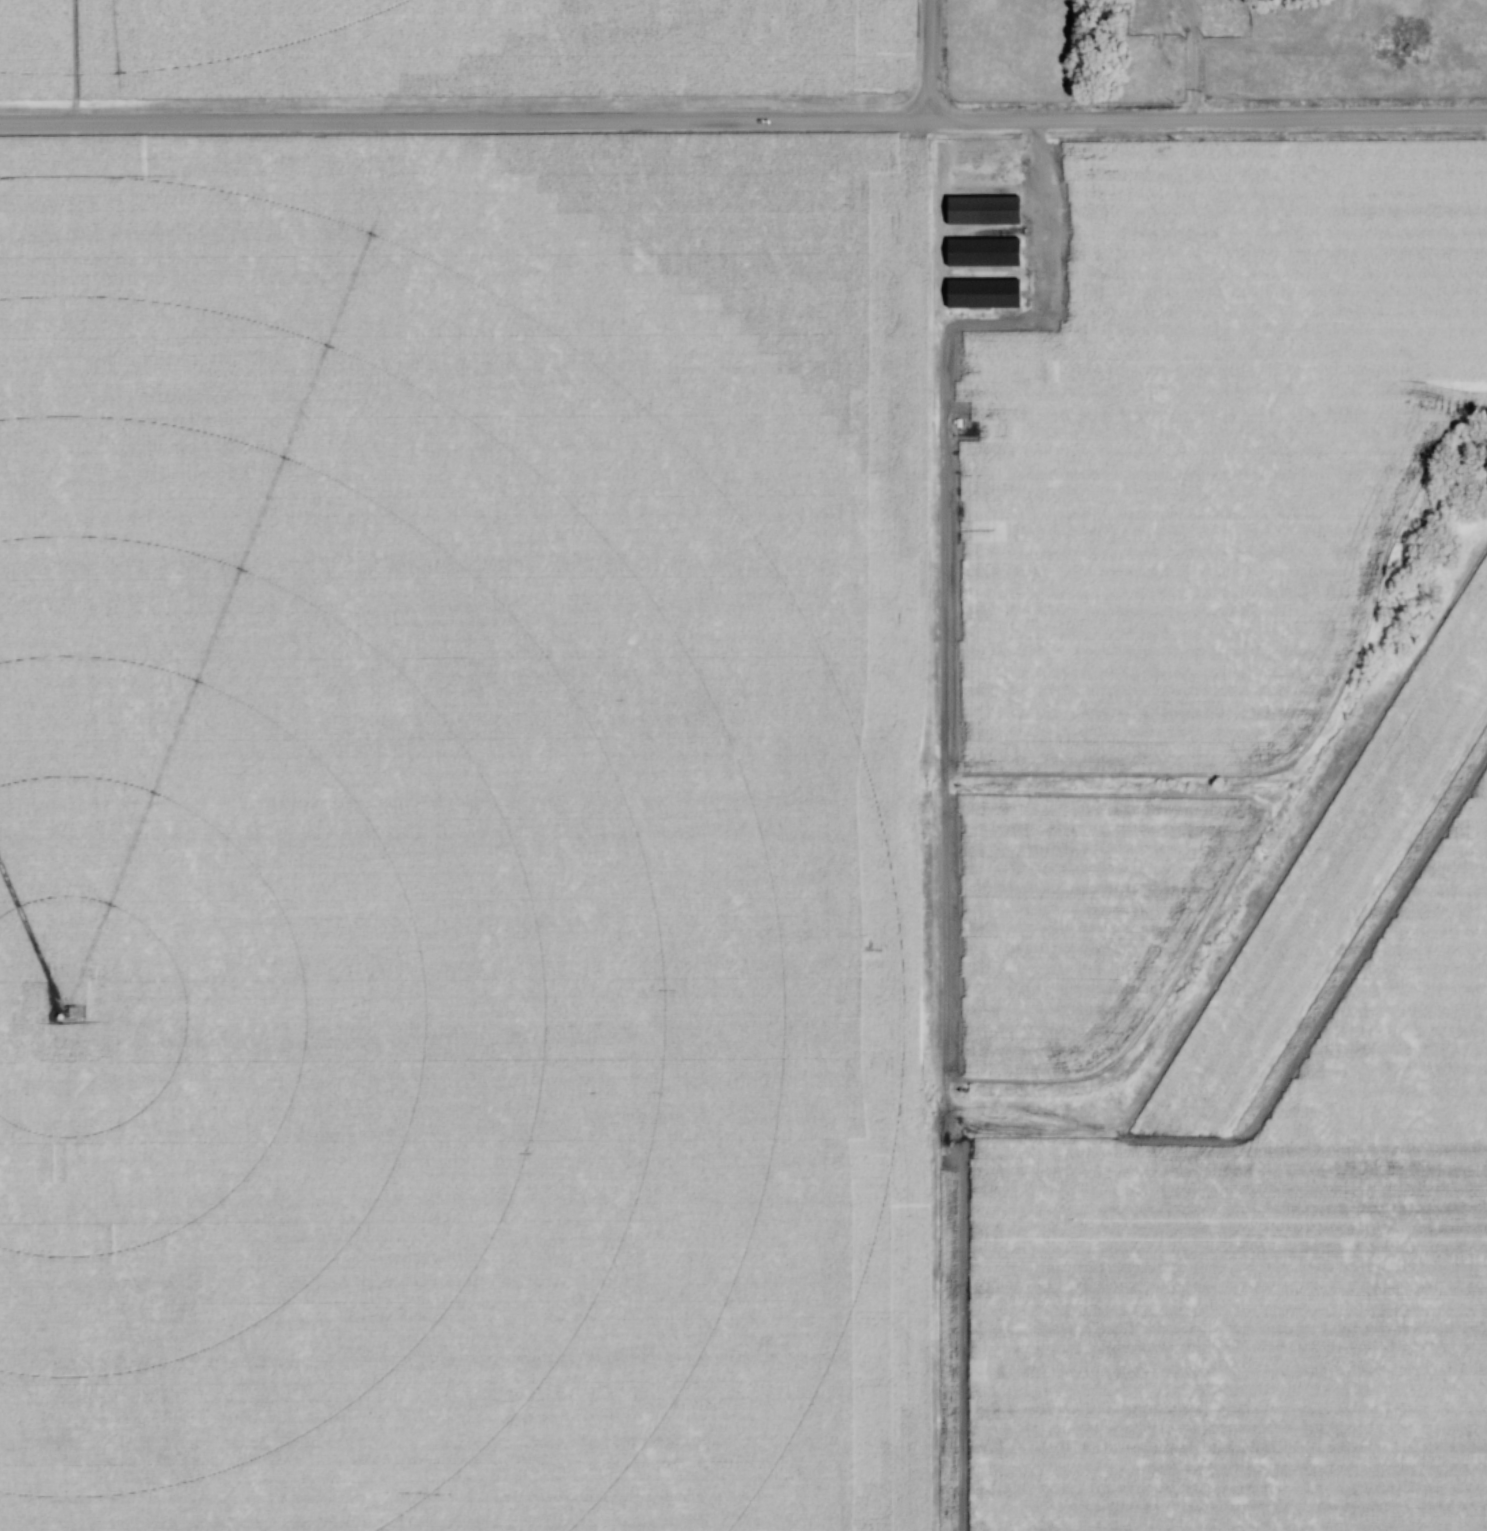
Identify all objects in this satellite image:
crop: (453, 50)
road: (1199, 61)
road: (936, 62)
road: (743, 123)
building: (985, 210)
building: (985, 252)
building: (985, 294)
crop: (447, 844)

